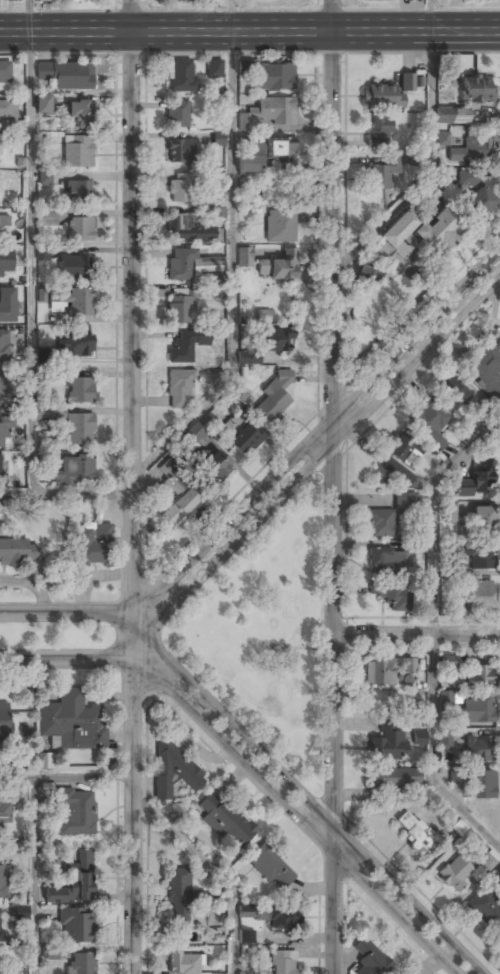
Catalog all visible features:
building: (13, 0)
building: (44, 0)
building: (181, 0)
building: (380, 0)
building: (398, 0)
building: (484, 0)
road: (429, 15)
road: (30, 16)
road: (230, 16)
road: (249, 31)
building: (214, 69)
building: (66, 75)
building: (5, 76)
building: (180, 76)
building: (273, 76)
building: (411, 82)
building: (476, 90)
building: (382, 98)
building: (42, 104)
building: (8, 109)
building: (80, 111)
building: (267, 113)
building: (177, 114)
building: (444, 115)
building: (8, 126)
building: (379, 133)
building: (443, 138)
building: (218, 139)
building: (182, 149)
building: (77, 151)
building: (473, 151)
building: (266, 155)
building: (383, 173)
building: (45, 177)
building: (468, 179)
building: (180, 187)
building: (77, 190)
building: (431, 194)
building: (480, 201)
building: (216, 213)
building: (48, 217)
building: (4, 221)
building: (280, 227)
building: (187, 228)
building: (80, 229)
building: (414, 234)
building: (41, 252)
building: (243, 257)
building: (5, 261)
road: (29, 264)
building: (188, 264)
building: (75, 267)
building: (278, 267)
road: (232, 272)
building: (368, 275)
building: (80, 302)
building: (8, 305)
building: (179, 309)
building: (263, 315)
building: (278, 341)
building: (75, 344)
building: (186, 346)
building: (4, 347)
building: (248, 356)
building: (485, 365)
building: (78, 386)
building: (179, 389)
building: (1, 391)
building: (237, 392)
building: (454, 392)
building: (275, 395)
building: (50, 412)
road: (330, 422)
building: (428, 425)
building: (79, 428)
building: (4, 434)
building: (193, 434)
building: (242, 434)
road: (335, 442)
building: (398, 459)
building: (213, 467)
building: (0, 470)
building: (74, 471)
building: (171, 475)
building: (474, 484)
road: (134, 487)
road: (335, 487)
road: (67, 494)
building: (179, 502)
building: (405, 502)
building: (449, 517)
building: (482, 518)
building: (380, 524)
building: (93, 546)
building: (17, 551)
building: (481, 557)
building: (386, 559)
building: (389, 595)
building: (480, 596)
road: (149, 608)
road: (66, 612)
road: (433, 631)
road: (417, 635)
road: (66, 658)
road: (151, 658)
building: (448, 662)
building: (386, 669)
building: (480, 676)
building: (446, 700)
building: (477, 711)
building: (73, 721)
building: (5, 722)
building: (419, 738)
building: (445, 739)
building: (386, 743)
building: (477, 750)
building: (45, 761)
building: (173, 770)
road: (66, 775)
building: (394, 777)
building: (456, 777)
building: (482, 784)
building: (73, 811)
building: (4, 812)
road: (327, 819)
building: (225, 821)
road: (308, 823)
building: (412, 830)
building: (487, 861)
building: (271, 868)
road: (214, 871)
building: (455, 873)
road: (32, 875)
building: (73, 880)
building: (2, 881)
building: (178, 900)
building: (485, 908)
building: (18, 912)
building: (270, 916)
building: (75, 924)
building: (1, 935)
building: (246, 936)
building: (50, 952)
building: (370, 959)
building: (82, 963)
building: (184, 963)
building: (283, 963)

